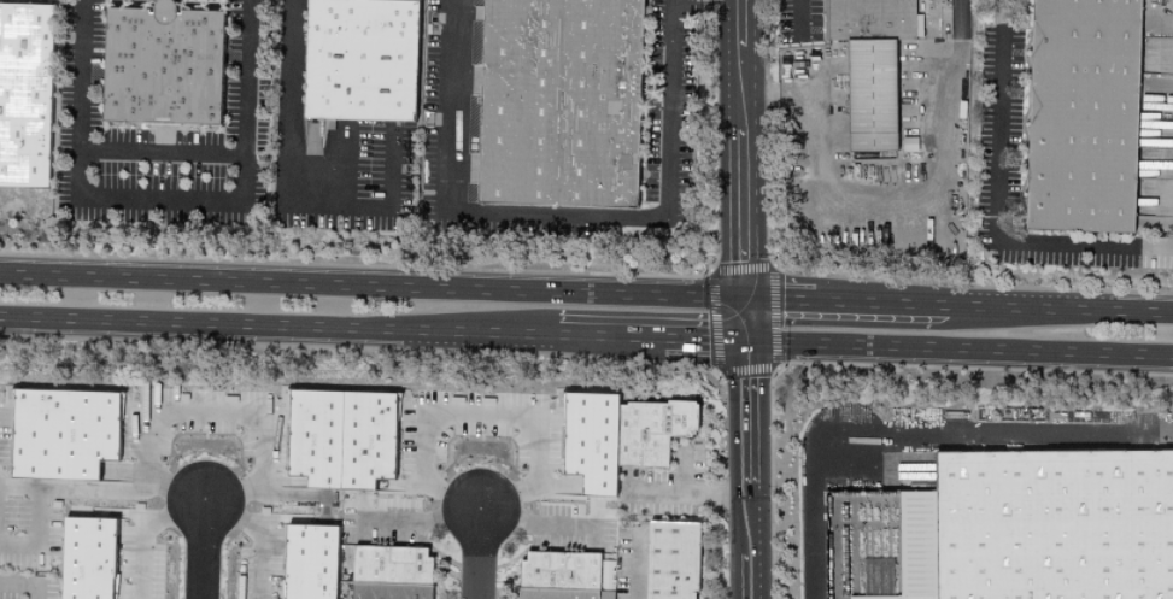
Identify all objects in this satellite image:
road: (802, 19)
building: (363, 60)
building: (868, 64)
building: (165, 66)
building: (25, 94)
building: (562, 102)
building: (1079, 114)
road: (739, 149)
road: (159, 155)
road: (345, 169)
road: (281, 196)
road: (898, 198)
road: (159, 200)
road: (997, 211)
road: (559, 215)
road: (369, 287)
traffic signals: (739, 300)
road: (956, 306)
road: (740, 310)
road: (373, 329)
traffic signals: (745, 341)
road: (958, 348)
road: (237, 406)
road: (488, 409)
building: (65, 425)
building: (614, 435)
road: (919, 435)
building: (344, 437)
road: (746, 458)
road: (682, 471)
road: (104, 488)
road: (653, 493)
road: (714, 493)
road: (475, 521)
building: (1055, 525)
road: (145, 530)
road: (203, 550)
road: (479, 553)
building: (82, 558)
building: (668, 560)
building: (305, 562)
road: (635, 563)
building: (388, 572)
building: (558, 576)
road: (22, 591)
building: (878, 591)

